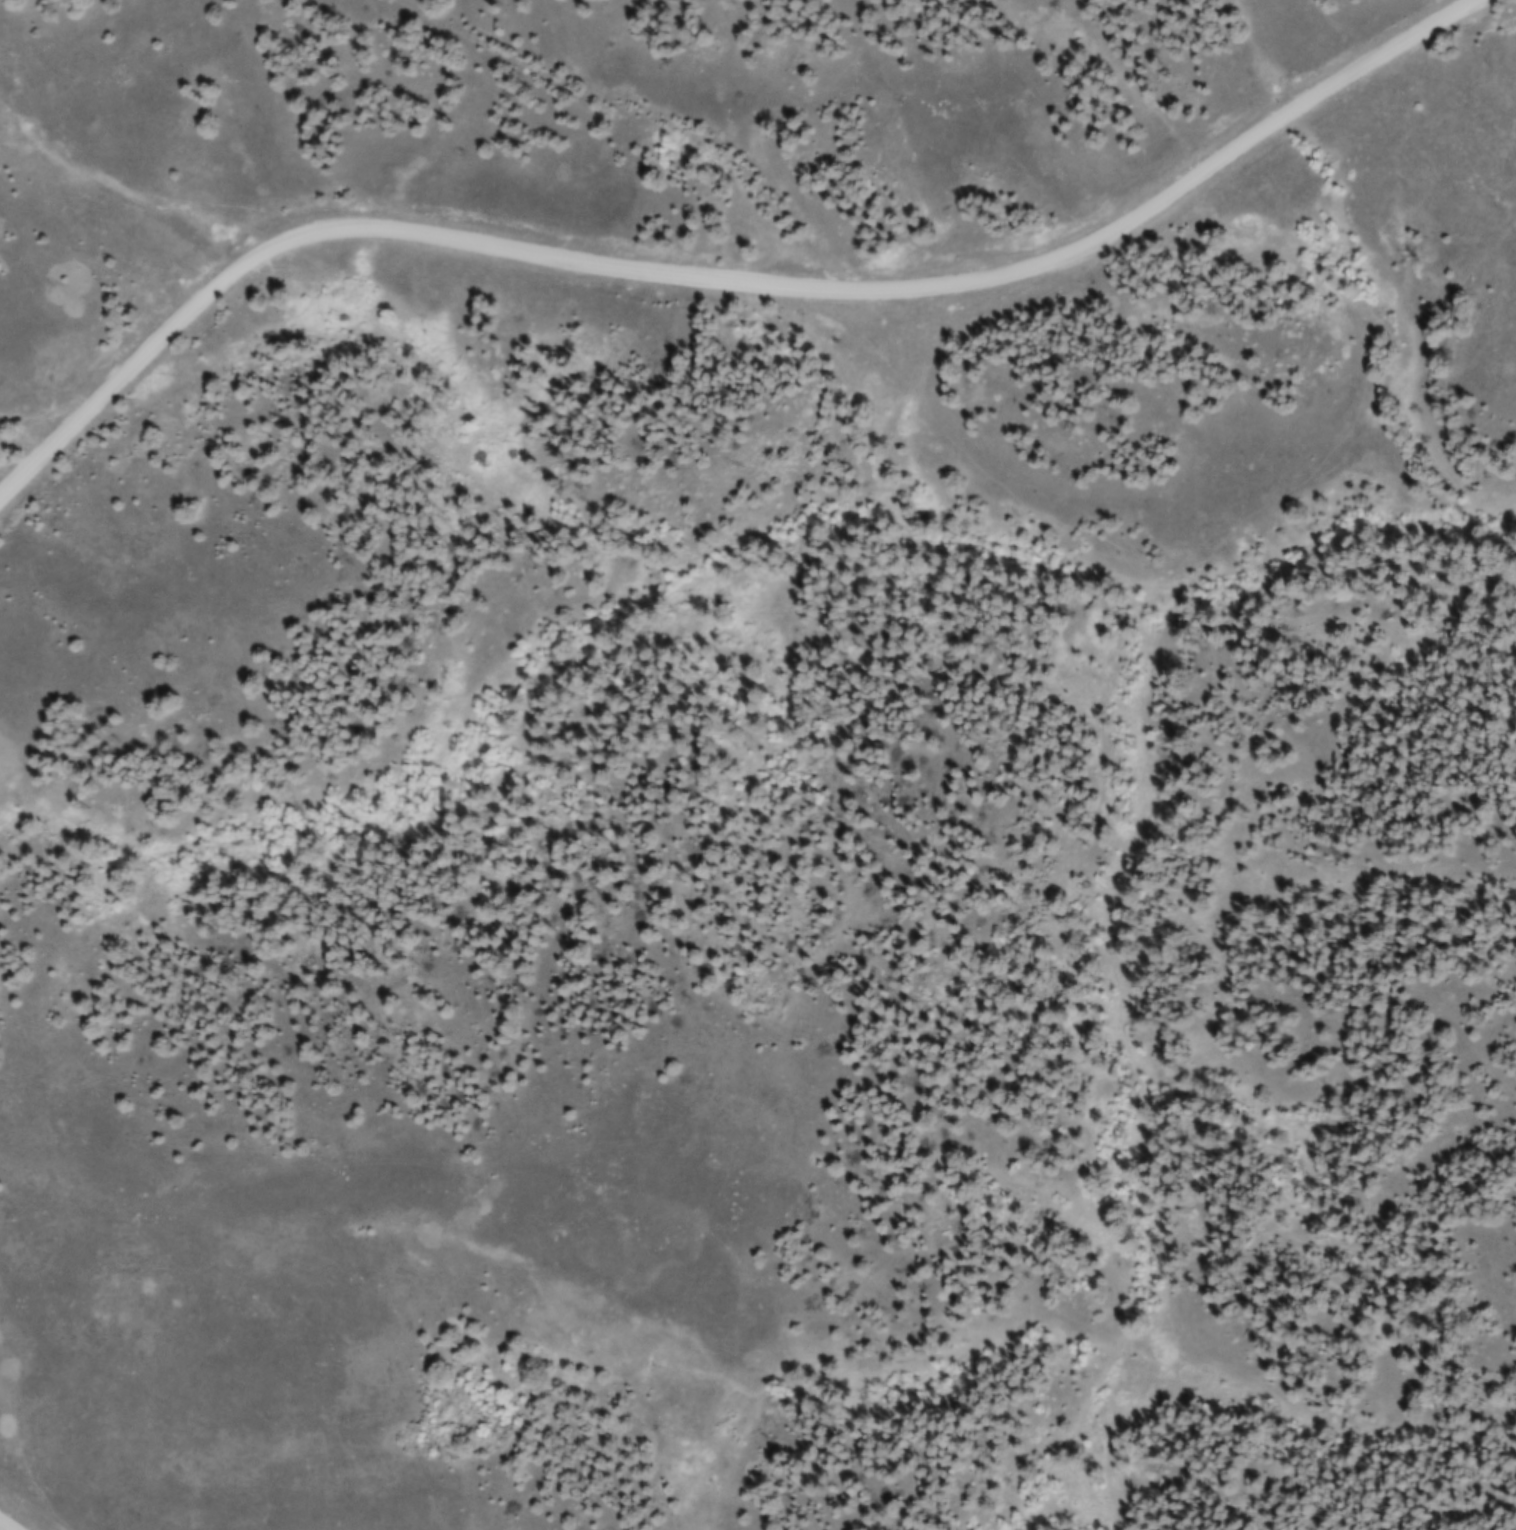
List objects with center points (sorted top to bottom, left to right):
road: (643, 102)
road: (716, 281)
road: (5, 1526)

